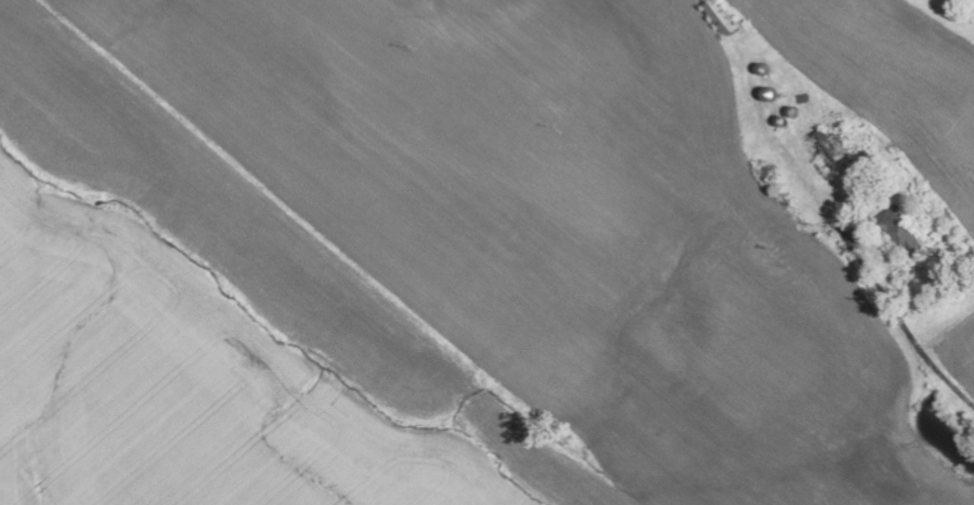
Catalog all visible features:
building: (726, 18)
building: (908, 232)

